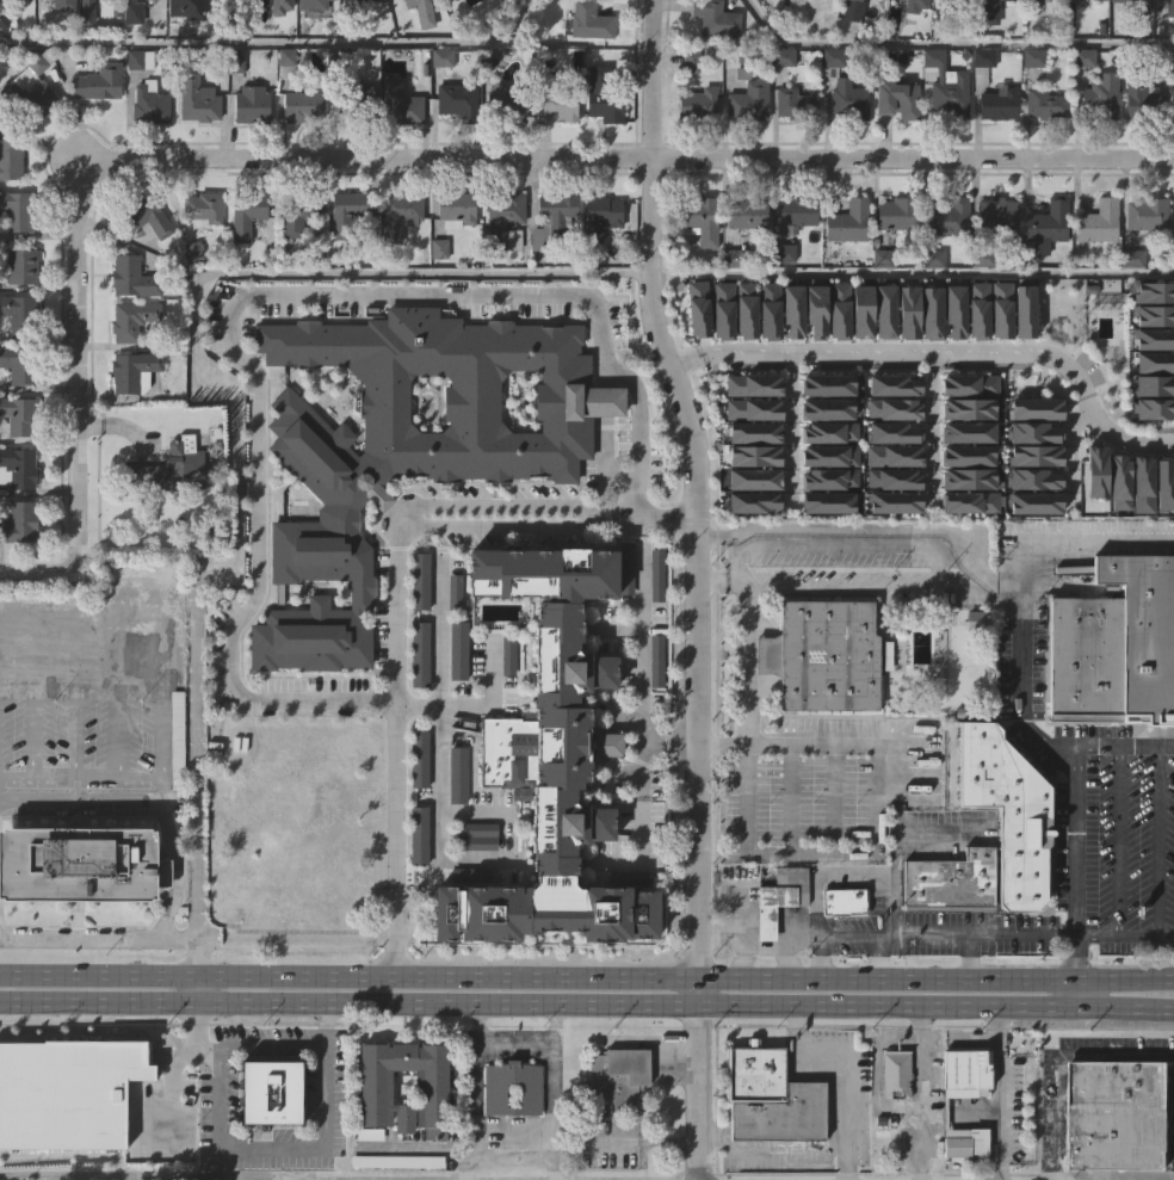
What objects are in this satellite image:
building: (482, 0)
building: (941, 0)
building: (1051, 0)
building: (357, 1)
building: (502, 1)
building: (415, 2)
building: (1080, 2)
building: (1137, 4)
building: (62, 5)
building: (311, 5)
building: (915, 5)
building: (963, 5)
building: (185, 7)
building: (279, 7)
building: (1170, 8)
building: (135, 12)
building: (989, 12)
building: (820, 14)
building: (774, 17)
building: (717, 19)
building: (591, 20)
building: (863, 23)
building: (266, 25)
building: (941, 29)
building: (13, 30)
building: (227, 30)
building: (1081, 32)
building: (1038, 33)
building: (362, 35)
building: (909, 35)
building: (55, 37)
building: (313, 38)
building: (408, 38)
building: (1124, 38)
building: (93, 39)
building: (1162, 39)
building: (184, 41)
road: (277, 42)
road: (950, 43)
building: (278, 47)
building: (990, 47)
building: (138, 60)
building: (849, 60)
building: (285, 63)
building: (712, 68)
building: (1, 69)
building: (586, 70)
building: (97, 81)
building: (947, 85)
building: (32, 89)
building: (603, 95)
building: (1101, 97)
building: (1142, 98)
building: (197, 99)
building: (356, 99)
building: (750, 100)
building: (898, 100)
building: (458, 101)
building: (557, 101)
building: (796, 101)
building: (851, 101)
building: (1046, 103)
building: (149, 104)
building: (400, 104)
building: (507, 104)
building: (699, 104)
building: (1000, 104)
building: (252, 105)
building: (303, 107)
building: (829, 107)
building: (1080, 107)
building: (234, 111)
building: (95, 132)
building: (945, 137)
building: (358, 143)
building: (1173, 144)
building: (599, 147)
building: (1096, 147)
building: (194, 149)
building: (894, 149)
building: (1137, 149)
building: (455, 150)
building: (746, 150)
building: (696, 152)
building: (845, 152)
building: (147, 153)
building: (248, 153)
building: (792, 153)
building: (994, 153)
building: (397, 154)
building: (506, 154)
building: (301, 155)
building: (1042, 155)
building: (552, 156)
road: (634, 157)
building: (11, 160)
road: (647, 175)
building: (202, 210)
building: (456, 210)
building: (16, 211)
building: (297, 212)
building: (347, 212)
building: (747, 212)
building: (798, 214)
building: (997, 214)
building: (1149, 214)
building: (247, 215)
building: (898, 215)
building: (146, 216)
building: (600, 216)
building: (398, 217)
building: (552, 218)
building: (950, 218)
building: (703, 220)
building: (503, 221)
building: (849, 222)
building: (1095, 222)
building: (1050, 223)
building: (200, 259)
building: (453, 259)
building: (345, 261)
building: (894, 262)
building: (993, 262)
building: (296, 264)
building: (396, 264)
building: (743, 264)
building: (793, 264)
building: (1143, 264)
building: (243, 265)
building: (21, 266)
building: (146, 266)
building: (598, 266)
building: (501, 267)
building: (945, 267)
building: (1173, 267)
building: (698, 268)
road: (909, 270)
building: (845, 271)
building: (1094, 271)
building: (1045, 272)
building: (132, 278)
building: (1156, 286)
road: (241, 294)
building: (435, 298)
building: (191, 301)
building: (780, 302)
building: (698, 307)
building: (792, 308)
building: (1129, 308)
road: (193, 309)
building: (723, 309)
building: (744, 309)
building: (768, 309)
building: (816, 309)
building: (839, 309)
building: (954, 309)
building: (977, 309)
building: (1000, 309)
building: (1024, 309)
building: (1155, 309)
building: (861, 310)
building: (884, 310)
building: (908, 311)
building: (931, 311)
building: (18, 314)
building: (132, 320)
building: (1155, 333)
road: (939, 350)
building: (1155, 357)
building: (696, 358)
building: (719, 359)
building: (743, 359)
building: (766, 359)
building: (836, 359)
building: (952, 359)
building: (975, 359)
building: (997, 359)
road: (75, 360)
building: (790, 360)
building: (814, 360)
building: (859, 360)
building: (882, 360)
building: (1021, 360)
building: (906, 362)
building: (928, 363)
building: (18, 365)
building: (135, 371)
building: (828, 379)
building: (895, 379)
building: (969, 379)
building: (1154, 379)
building: (752, 381)
building: (1155, 402)
building: (827, 403)
building: (969, 403)
building: (753, 404)
building: (895, 404)
building: (1036, 404)
building: (18, 415)
building: (130, 421)
building: (829, 426)
building: (894, 427)
building: (969, 427)
building: (754, 428)
road: (791, 428)
road: (928, 428)
building: (1033, 428)
building: (1151, 434)
building: (412, 440)
road: (1071, 449)
building: (968, 450)
building: (754, 451)
building: (829, 451)
building: (894, 451)
building: (1036, 451)
building: (1153, 458)
building: (1098, 465)
building: (18, 467)
building: (168, 468)
building: (755, 472)
building: (829, 474)
building: (894, 474)
building: (969, 474)
building: (1033, 474)
building: (1120, 476)
building: (1143, 478)
building: (1164, 478)
building: (754, 496)
building: (829, 496)
building: (895, 498)
building: (968, 498)
building: (1034, 498)
building: (162, 517)
building: (1093, 520)
building: (19, 521)
building: (827, 527)
building: (891, 527)
building: (965, 527)
building: (752, 529)
building: (1031, 529)
road: (872, 530)
building: (1117, 531)
building: (1139, 533)
building: (1162, 535)
building: (750, 551)
building: (826, 551)
building: (966, 551)
building: (892, 552)
building: (1032, 552)
building: (626, 564)
building: (18, 572)
road: (45, 572)
building: (656, 572)
building: (420, 577)
road: (960, 581)
road: (838, 583)
building: (453, 592)
road: (396, 593)
building: (623, 617)
building: (980, 619)
building: (654, 624)
building: (1143, 629)
road: (746, 632)
building: (457, 647)
building: (420, 650)
building: (507, 651)
building: (826, 654)
building: (656, 656)
building: (1085, 656)
building: (974, 668)
road: (637, 673)
road: (1021, 698)
building: (455, 699)
building: (416, 703)
road: (470, 703)
building: (505, 704)
building: (820, 705)
building: (653, 710)
building: (884, 711)
road: (826, 736)
road: (435, 737)
road: (1114, 749)
building: (551, 753)
building: (419, 758)
road: (696, 761)
building: (457, 771)
building: (173, 789)
road: (791, 791)
road: (832, 792)
building: (605, 793)
road: (636, 798)
road: (148, 803)
building: (416, 808)
building: (545, 810)
building: (870, 814)
building: (1025, 817)
building: (455, 823)
road: (197, 829)
building: (420, 832)
building: (476, 833)
road: (1117, 841)
road: (1157, 842)
road: (755, 847)
building: (80, 864)
building: (470, 871)
building: (629, 873)
building: (415, 884)
building: (781, 897)
building: (845, 901)
road: (737, 910)
building: (78, 913)
road: (718, 928)
road: (879, 931)
building: (947, 932)
road: (1070, 933)
road: (739, 935)
road: (99, 938)
road: (748, 944)
building: (777, 947)
building: (840, 951)
road: (790, 952)
road: (822, 952)
road: (877, 953)
road: (969, 954)
road: (198, 969)
road: (586, 974)
road: (1074, 990)
road: (587, 1001)
road: (198, 1026)
road: (513, 1036)
road: (261, 1043)
road: (1053, 1058)
road: (847, 1064)
building: (969, 1070)
building: (896, 1075)
building: (618, 1076)
road: (168, 1083)
building: (438, 1085)
road: (472, 1091)
road: (550, 1091)
road: (1001, 1092)
building: (270, 1093)
building: (495, 1095)
building: (772, 1098)
building: (1117, 1116)
building: (963, 1120)
building: (891, 1124)
building: (614, 1125)
road: (511, 1129)
building: (67, 1132)
building: (508, 1137)
building: (267, 1141)
road: (291, 1142)
building: (766, 1142)
building: (397, 1161)
building: (366, 1178)
building: (960, 1179)

